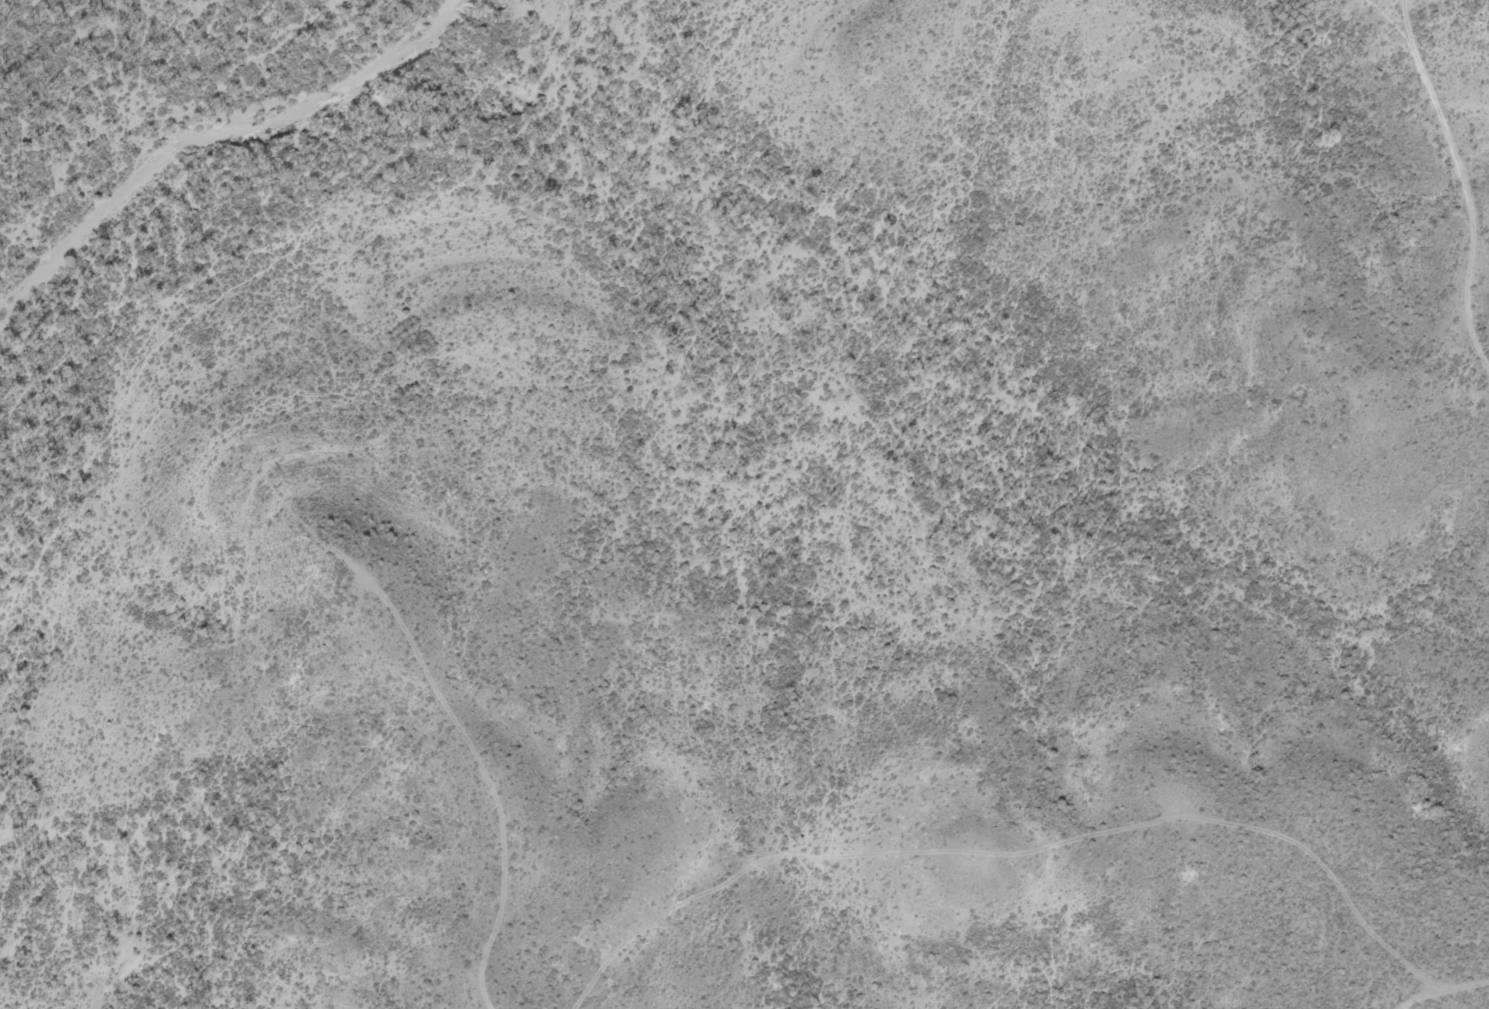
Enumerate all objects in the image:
road: (1472, 175)
road: (1448, 991)

